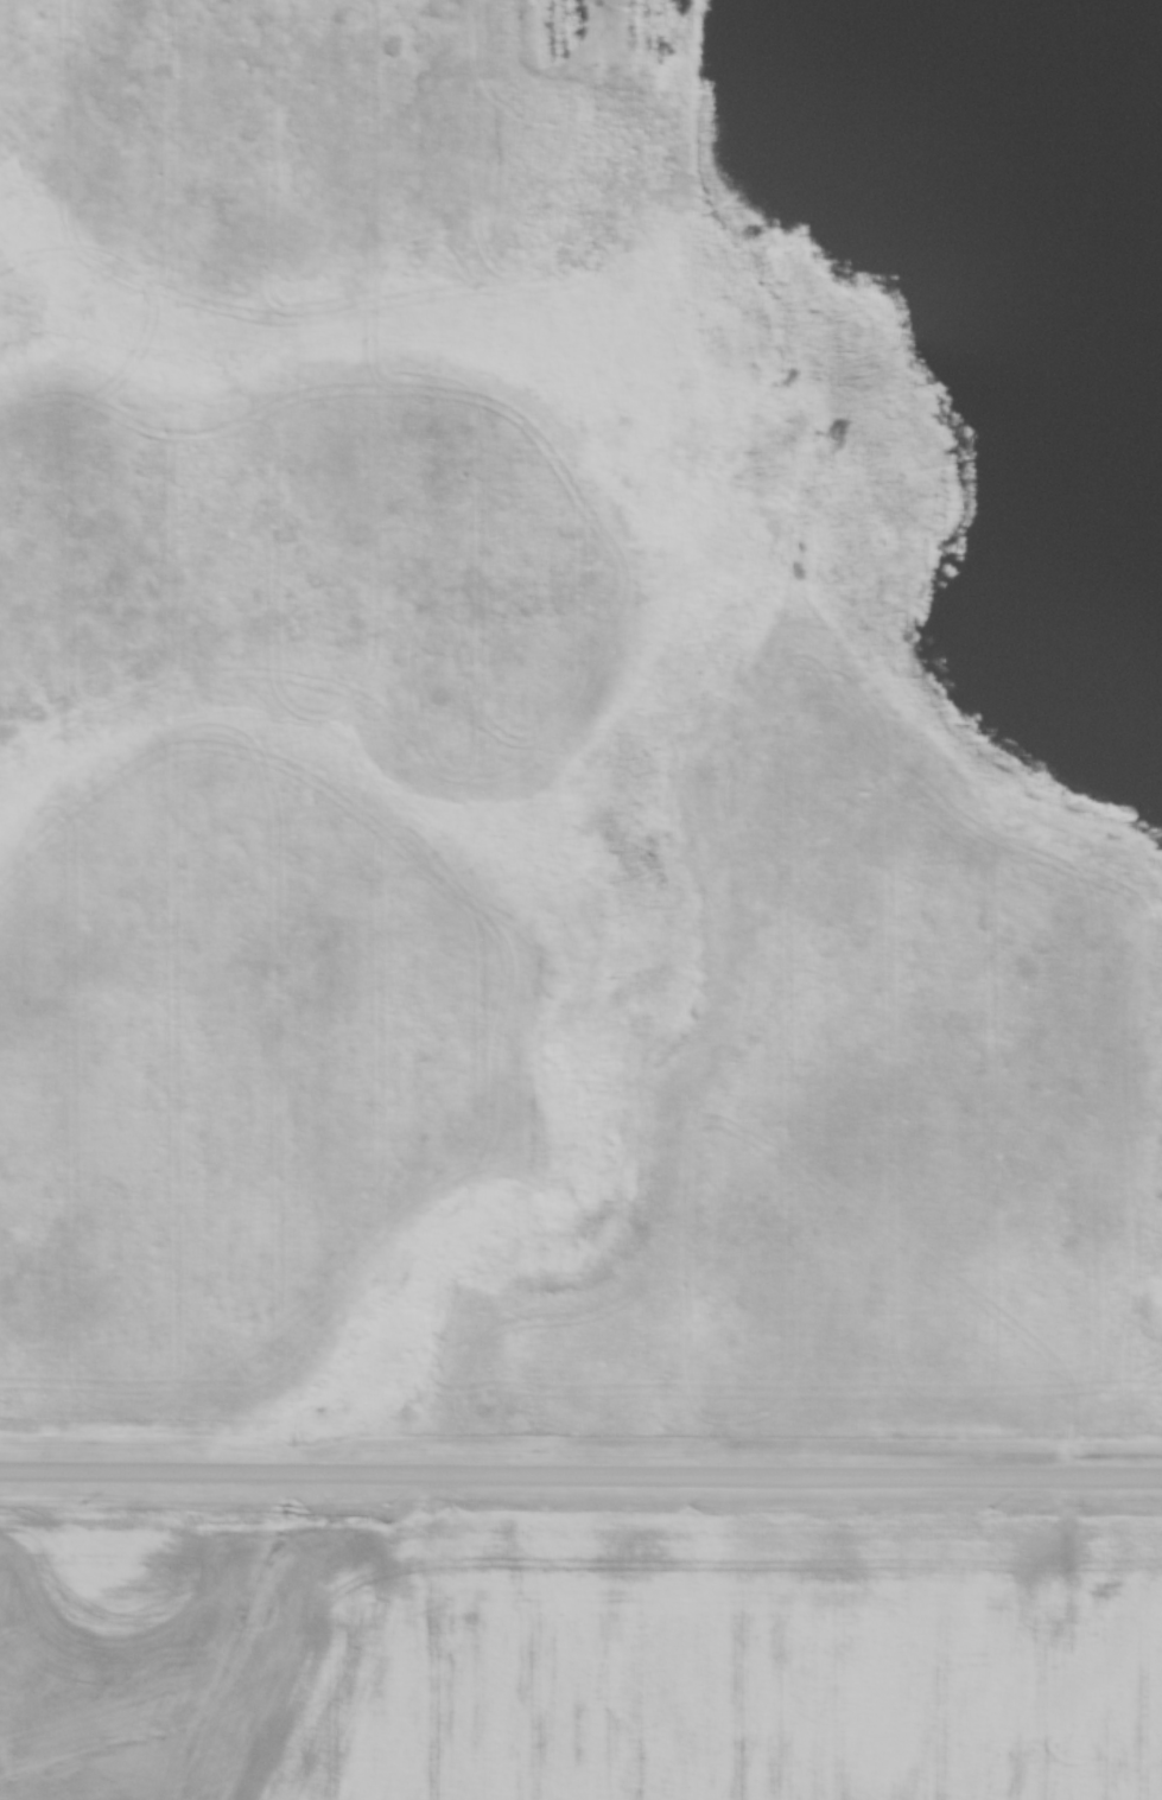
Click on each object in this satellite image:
road: (580, 1470)

